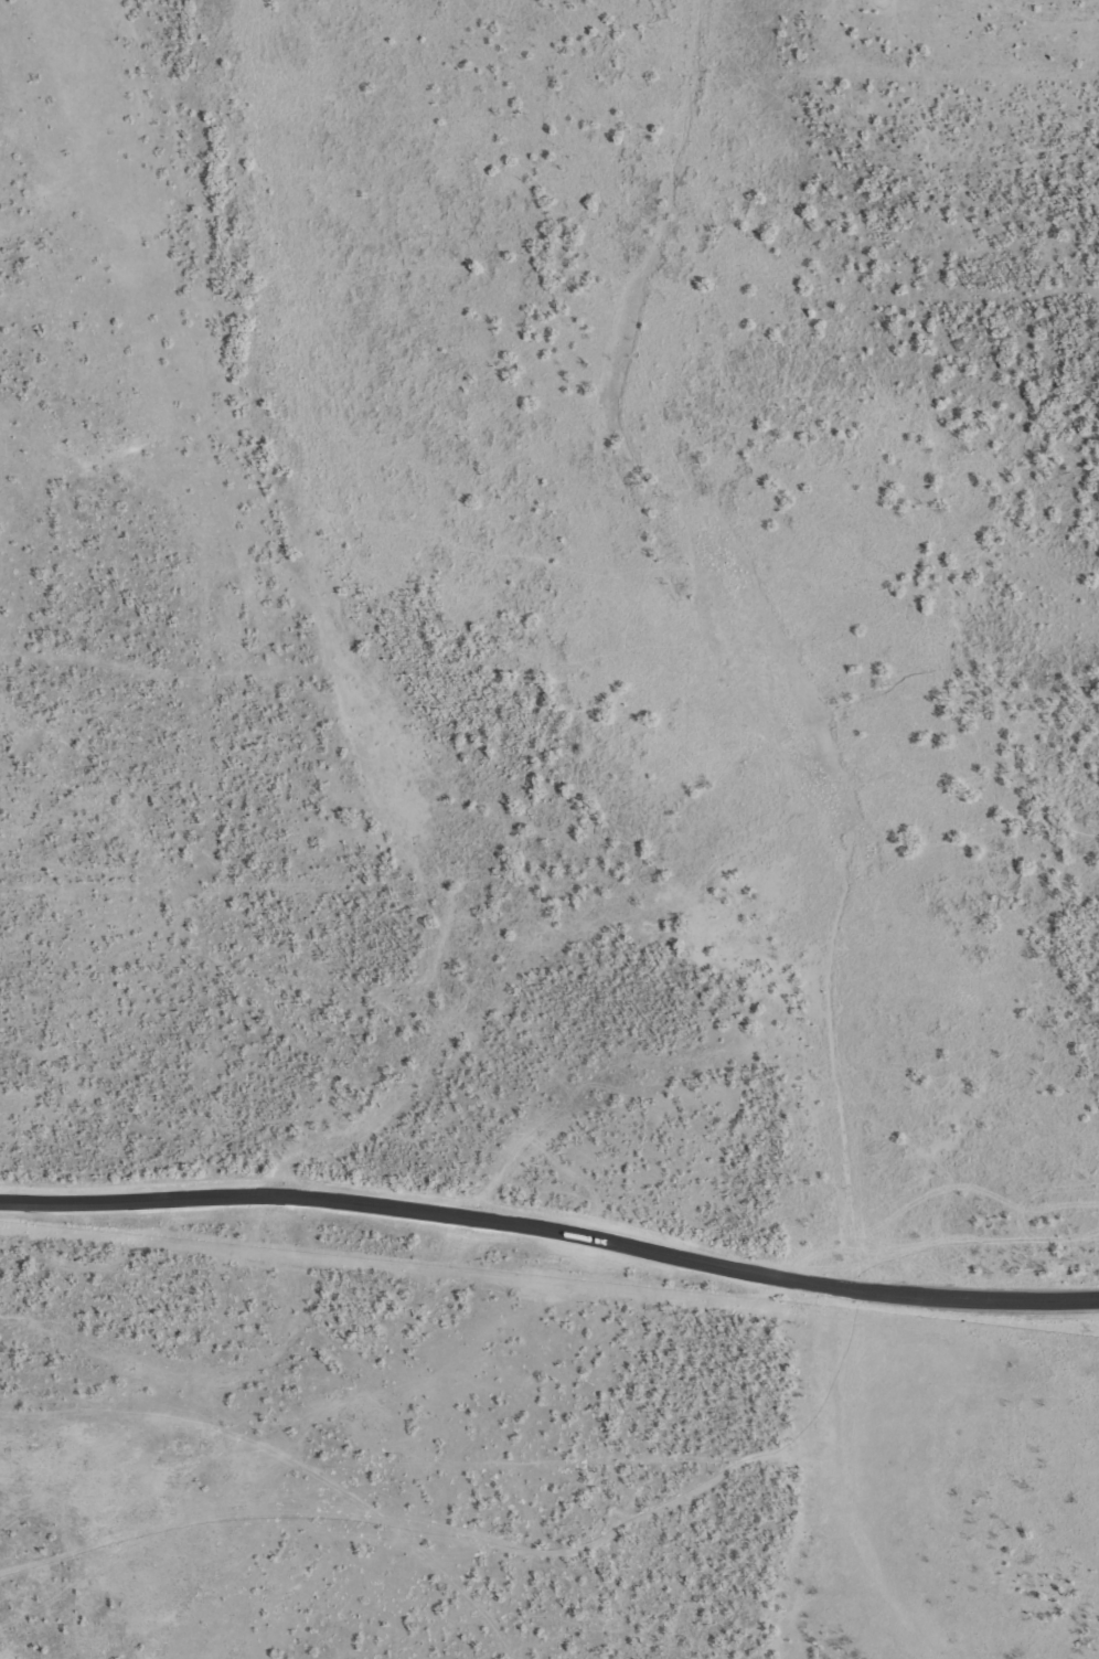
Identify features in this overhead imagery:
road: (552, 1223)
road: (271, 1486)

